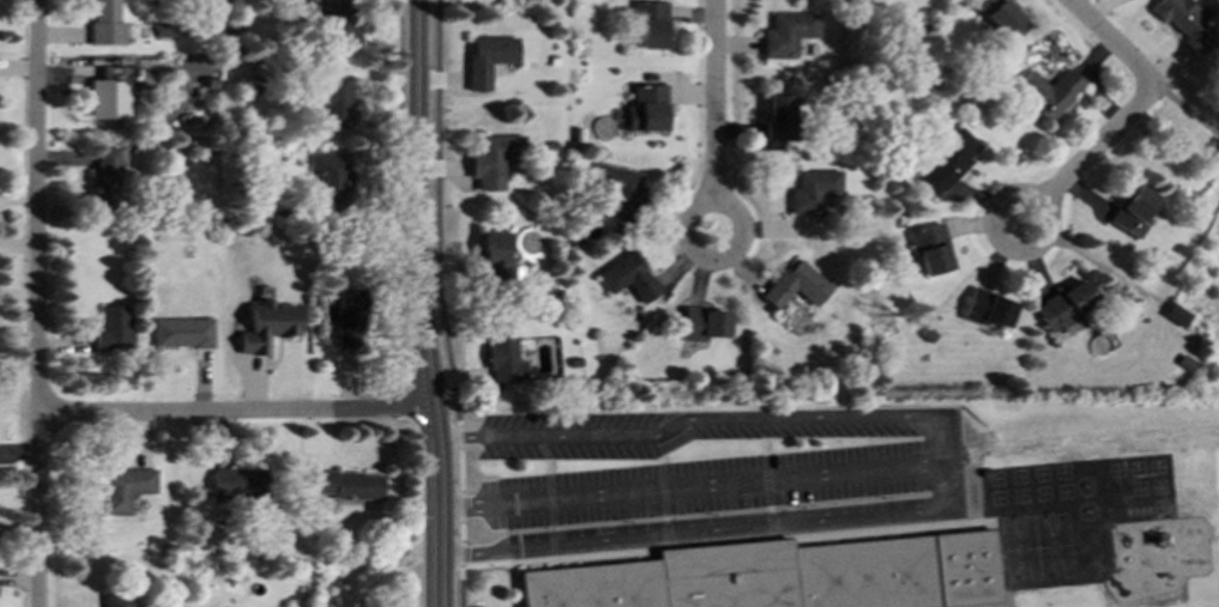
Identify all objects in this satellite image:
building: (308, 0)
building: (1004, 18)
building: (107, 24)
building: (1188, 24)
building: (652, 25)
building: (342, 29)
building: (790, 34)
road: (1117, 44)
building: (490, 59)
building: (113, 89)
building: (1051, 92)
building: (334, 101)
road: (718, 101)
building: (648, 109)
road: (1190, 111)
building: (780, 117)
road: (1092, 156)
building: (494, 159)
building: (948, 164)
building: (105, 178)
building: (331, 178)
building: (620, 187)
building: (815, 190)
building: (1135, 212)
road: (439, 214)
building: (931, 250)
building: (495, 259)
road: (710, 260)
building: (630, 278)
building: (799, 286)
road: (35, 303)
road: (422, 304)
building: (1067, 305)
building: (989, 309)
building: (1176, 315)
building: (348, 318)
building: (706, 324)
building: (266, 327)
building: (110, 328)
building: (180, 333)
building: (503, 354)
road: (237, 412)
road: (460, 437)
road: (942, 461)
road: (461, 471)
parking lot: (698, 478)
building: (239, 484)
road: (694, 485)
building: (348, 486)
building: (123, 490)
road: (463, 508)
road: (463, 533)
road: (463, 554)
building: (783, 576)
road: (461, 585)

